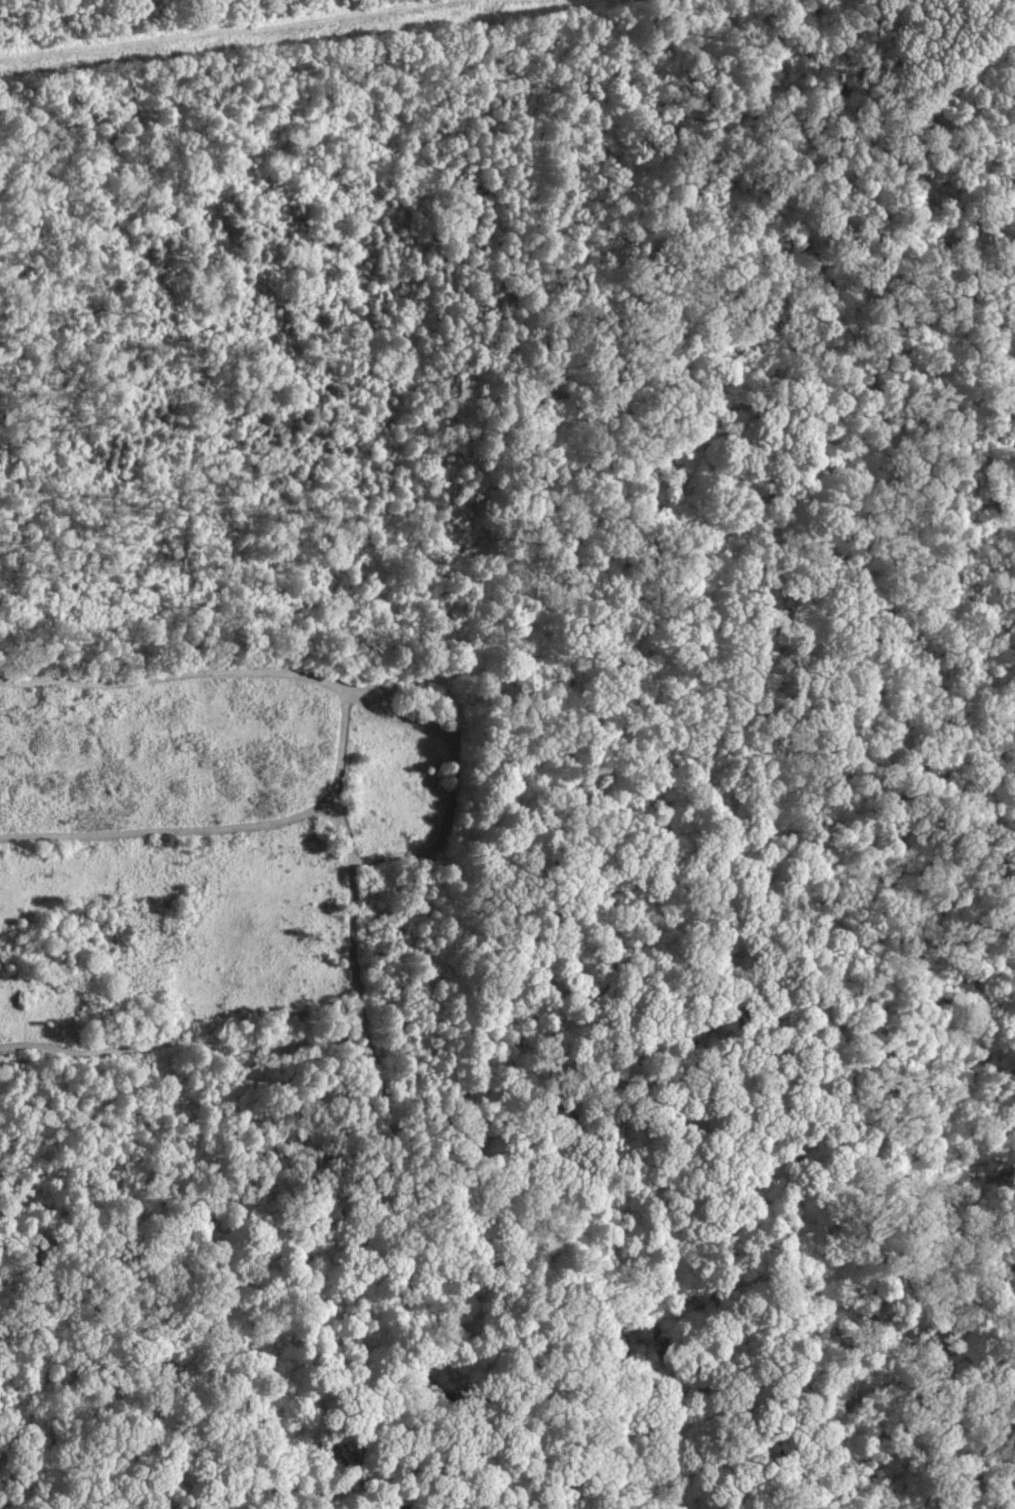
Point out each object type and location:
road: (574, 1127)
building: (399, 1504)

